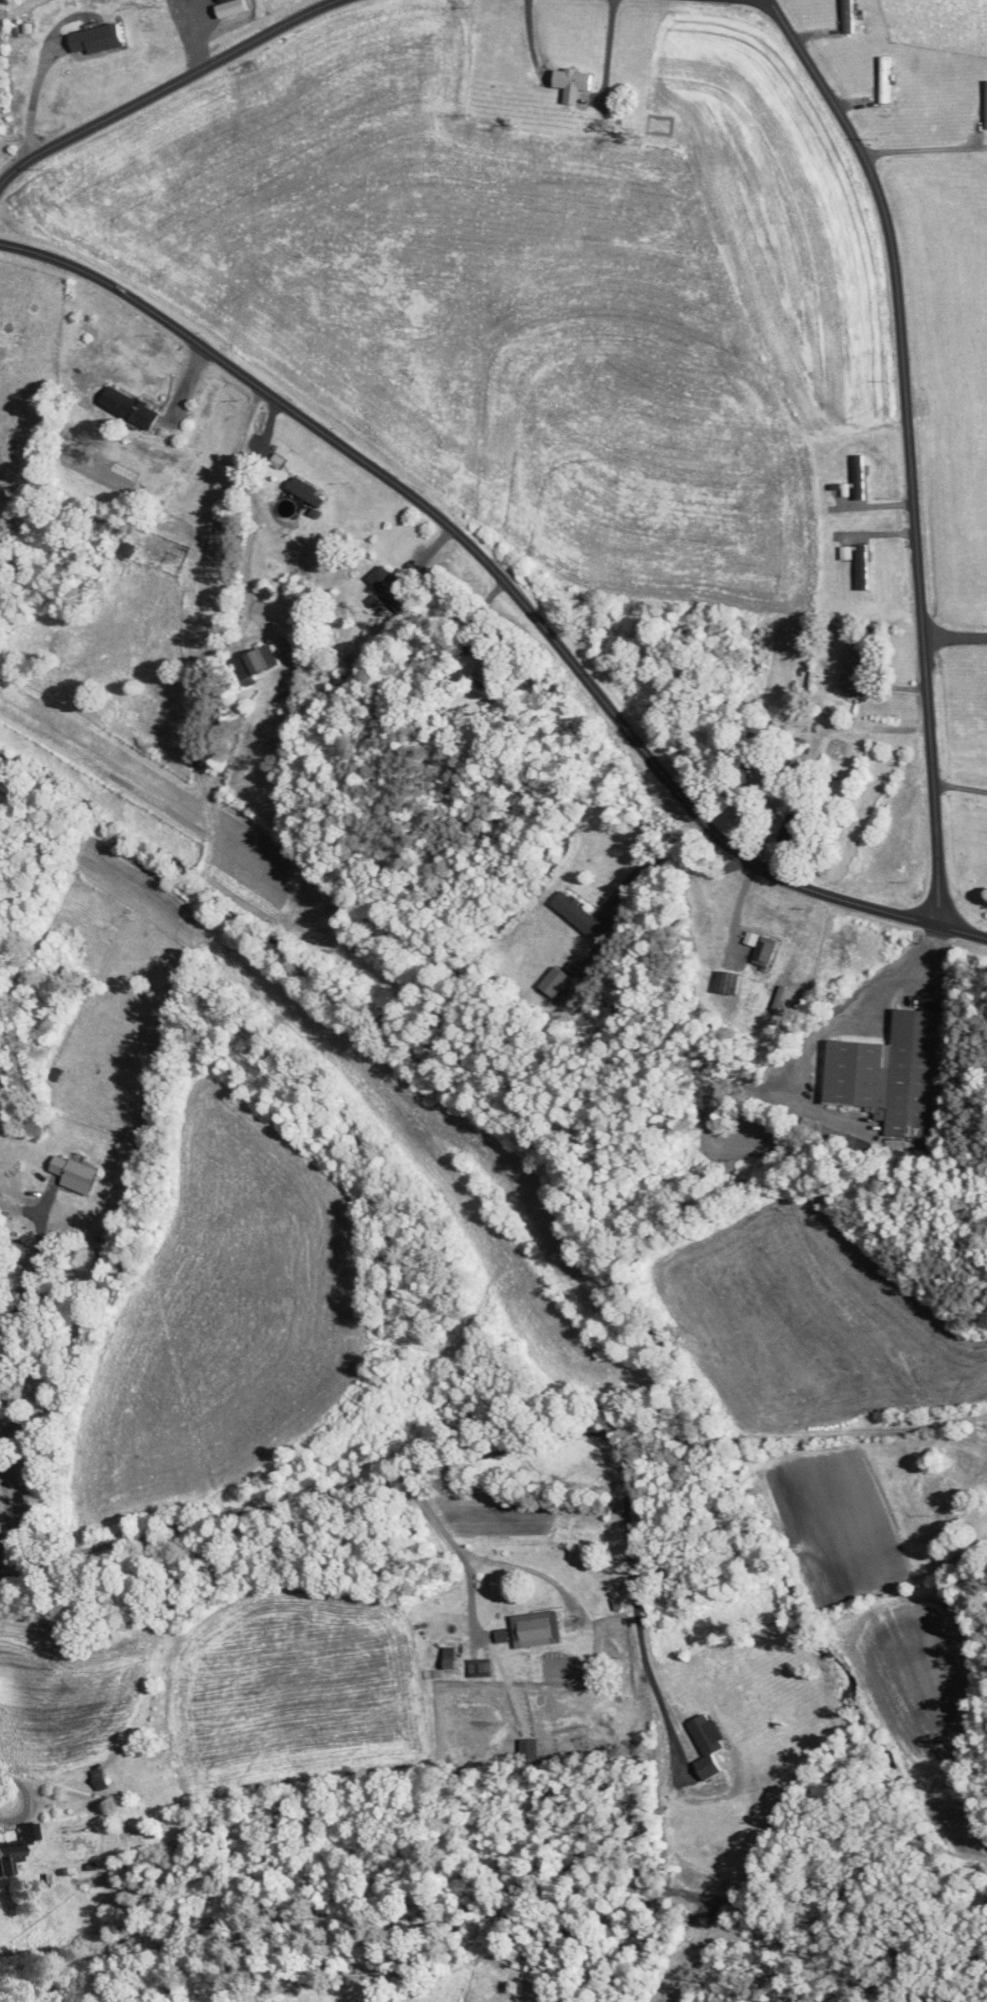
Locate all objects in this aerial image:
building: (100, 38)
building: (575, 83)
road: (165, 86)
road: (924, 148)
building: (134, 408)
road: (908, 447)
building: (312, 495)
building: (862, 563)
road: (508, 585)
building: (391, 587)
road: (477, 618)
road: (954, 635)
building: (856, 665)
building: (253, 666)
building: (346, 681)
building: (740, 752)
road: (960, 787)
building: (795, 831)
road: (666, 861)
building: (580, 915)
building: (767, 950)
road: (898, 975)
building: (557, 982)
building: (731, 983)
building: (894, 1074)
building: (78, 1175)
road: (34, 1267)
road: (19, 1395)
building: (41, 1405)
road: (471, 1455)
road: (455, 1547)
road: (521, 1567)
building: (539, 1630)
building: (503, 1636)
building: (452, 1657)
building: (482, 1668)
road: (27, 1797)
building: (11, 1857)

